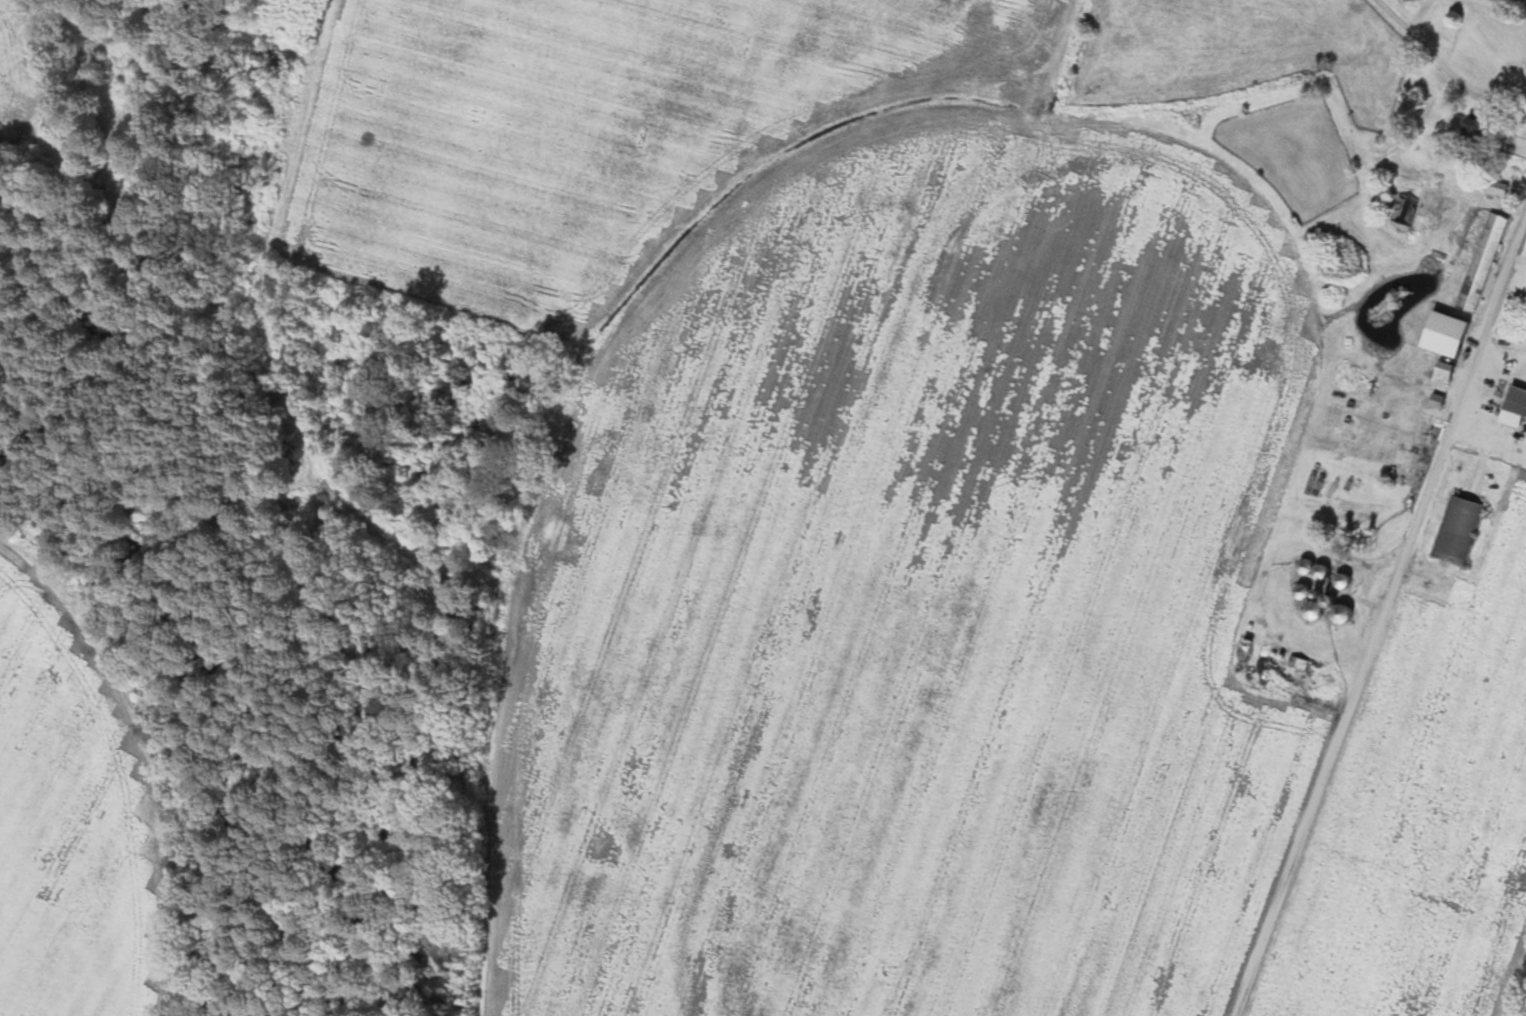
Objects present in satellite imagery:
building: (279, 62)
building: (1484, 130)
building: (1500, 189)
building: (1404, 211)
building: (1483, 262)
building: (1449, 335)
road: (1492, 356)
road: (272, 370)
building: (1445, 373)
building: (1517, 401)
building: (1456, 530)
building: (1311, 571)
road: (17, 578)
building: (1303, 592)
road: (1361, 596)
building: (1314, 610)

